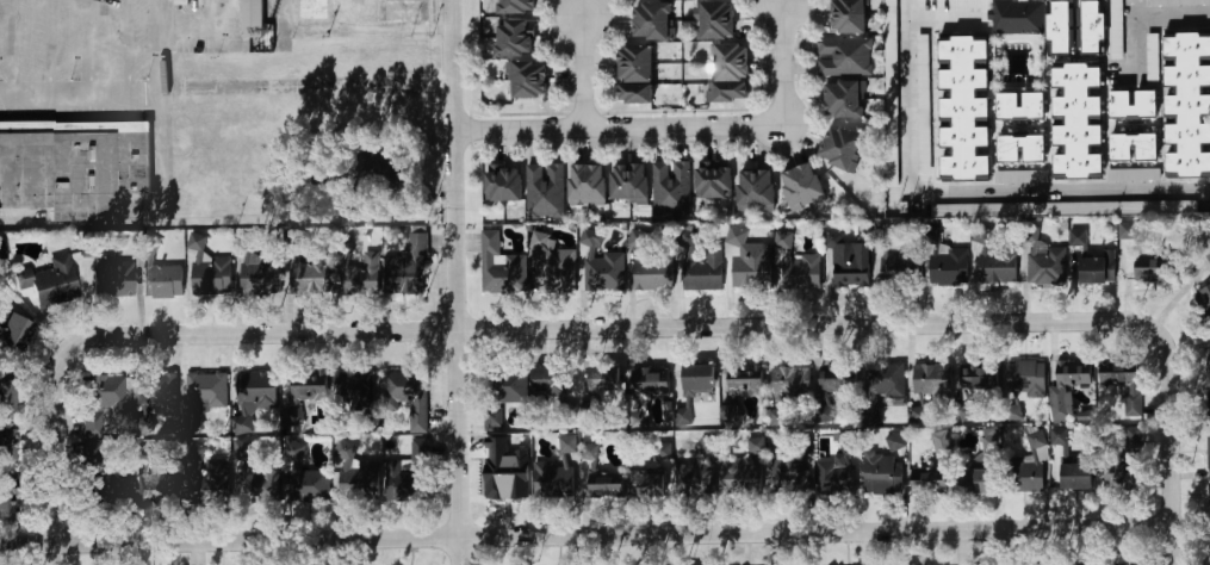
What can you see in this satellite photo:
building: (1179, 2)
building: (517, 6)
road: (1146, 10)
building: (1011, 13)
building: (250, 17)
building: (848, 17)
road: (188, 19)
building: (716, 20)
road: (943, 20)
building: (653, 21)
road: (283, 23)
building: (1060, 27)
building: (1092, 27)
road: (366, 30)
road: (188, 33)
road: (218, 38)
building: (515, 38)
building: (1116, 38)
road: (10, 48)
road: (48, 48)
road: (87, 48)
road: (126, 48)
building: (1150, 55)
building: (843, 56)
building: (892, 56)
road: (783, 63)
building: (923, 69)
road: (581, 73)
building: (731, 73)
building: (635, 74)
building: (529, 80)
road: (81, 97)
building: (844, 100)
building: (1020, 105)
building: (1133, 105)
building: (1187, 105)
road: (162, 108)
building: (963, 110)
building: (1076, 122)
building: (75, 128)
road: (618, 129)
building: (1134, 147)
building: (842, 149)
building: (1020, 149)
building: (387, 166)
building: (74, 172)
building: (1134, 174)
building: (1020, 175)
building: (713, 182)
building: (503, 184)
building: (629, 184)
building: (588, 185)
building: (802, 187)
building: (670, 188)
building: (755, 191)
building: (545, 192)
road: (961, 192)
road: (82, 219)
building: (1127, 229)
building: (1078, 236)
building: (784, 238)
building: (852, 257)
building: (1208, 259)
building: (994, 261)
building: (602, 265)
building: (499, 266)
building: (551, 266)
building: (651, 266)
building: (752, 266)
building: (1045, 266)
building: (948, 268)
building: (896, 269)
building: (1098, 269)
building: (207, 271)
building: (703, 271)
building: (402, 273)
building: (800, 274)
building: (111, 275)
building: (1153, 275)
building: (261, 277)
building: (310, 277)
building: (358, 279)
building: (50, 281)
road: (455, 281)
building: (163, 282)
building: (1204, 299)
road: (653, 328)
building: (10, 335)
building: (1209, 366)
building: (979, 377)
building: (1025, 378)
building: (603, 379)
building: (832, 379)
building: (931, 379)
building: (882, 380)
building: (649, 381)
building: (695, 381)
building: (792, 381)
building: (1067, 383)
building: (1123, 383)
building: (508, 386)
building: (745, 386)
building: (355, 389)
building: (552, 389)
building: (255, 391)
building: (304, 393)
building: (156, 395)
building: (408, 395)
building: (201, 397)
building: (2, 398)
building: (99, 401)
building: (1208, 408)
building: (1014, 409)
building: (730, 414)
building: (1085, 415)
building: (494, 416)
building: (776, 416)
building: (682, 417)
building: (637, 418)
road: (58, 421)
building: (143, 421)
building: (368, 422)
building: (1059, 439)
building: (1134, 439)
building: (894, 442)
building: (1, 446)
building: (756, 446)
building: (944, 447)
building: (664, 449)
building: (1209, 453)
building: (191, 460)
road: (1173, 462)
building: (1028, 468)
building: (1127, 468)
building: (693, 470)
building: (504, 471)
building: (556, 473)
building: (881, 473)
building: (252, 474)
building: (789, 476)
building: (1078, 476)
building: (103, 477)
building: (600, 477)
building: (736, 477)
building: (930, 477)
building: (303, 478)
building: (836, 479)
building: (359, 480)
building: (216, 482)
building: (402, 482)
building: (978, 482)
building: (653, 485)
building: (154, 489)
building: (8, 499)
road: (587, 535)

